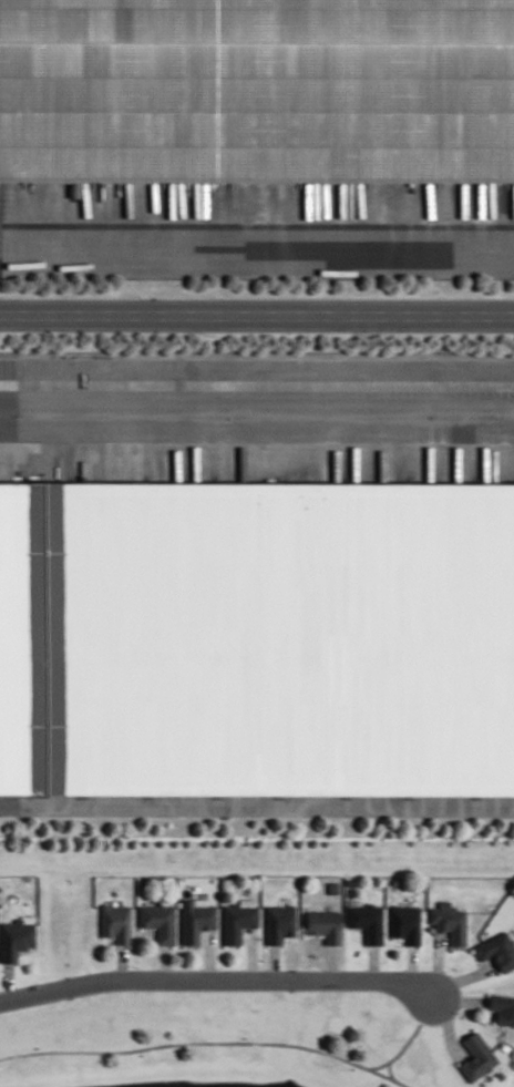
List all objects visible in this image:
building: (257, 93)
road: (257, 249)
road: (257, 315)
road: (257, 414)
building: (21, 636)
building: (277, 639)
road: (257, 803)
building: (195, 919)
building: (236, 920)
building: (157, 922)
building: (366, 922)
building: (449, 922)
building: (114, 923)
building: (278, 923)
building: (404, 923)
building: (322, 925)
building: (14, 939)
building: (496, 951)
road: (216, 976)
building: (502, 1008)
road: (235, 1040)
building: (475, 1057)
road: (389, 1068)
road: (389, 1076)

